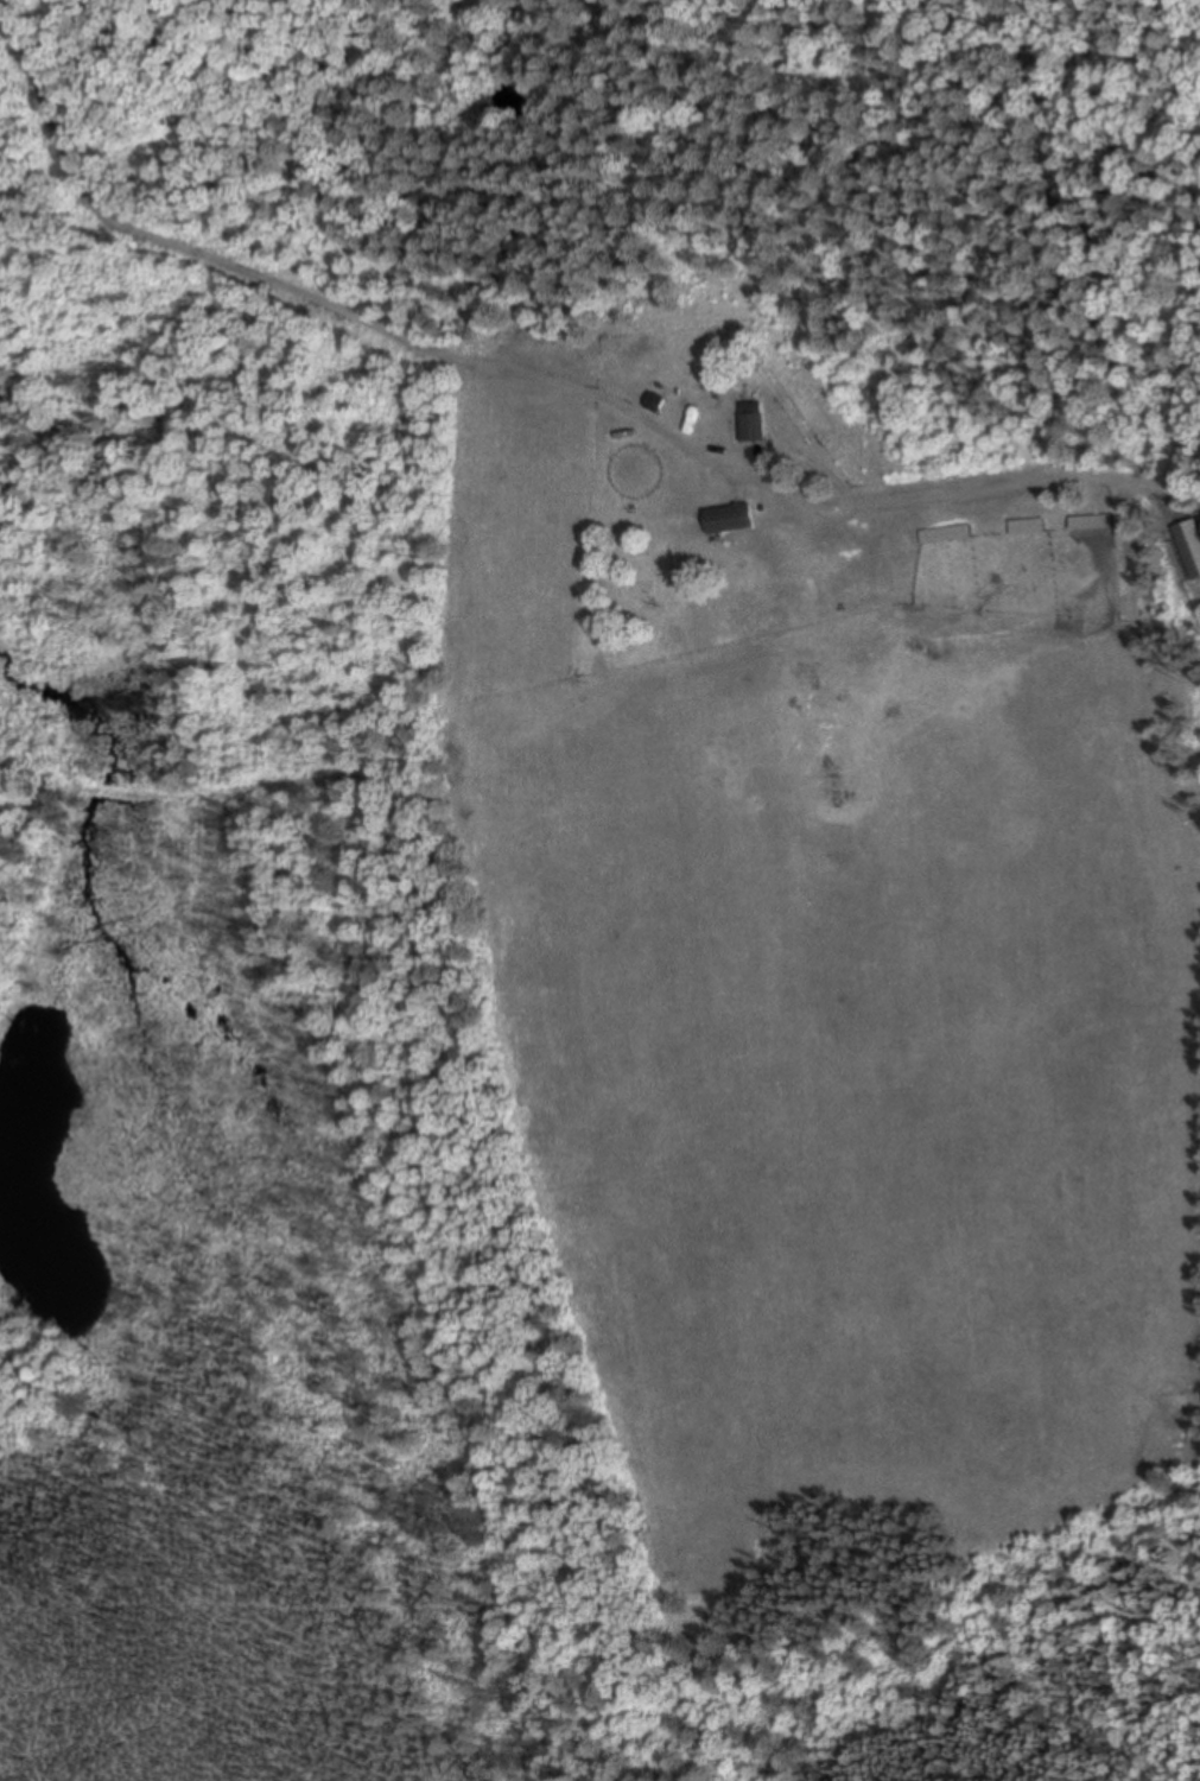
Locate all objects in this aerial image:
building: (654, 405)
building: (748, 424)
road: (996, 493)
building: (725, 521)
building: (1088, 524)
building: (1024, 528)
building: (941, 535)

